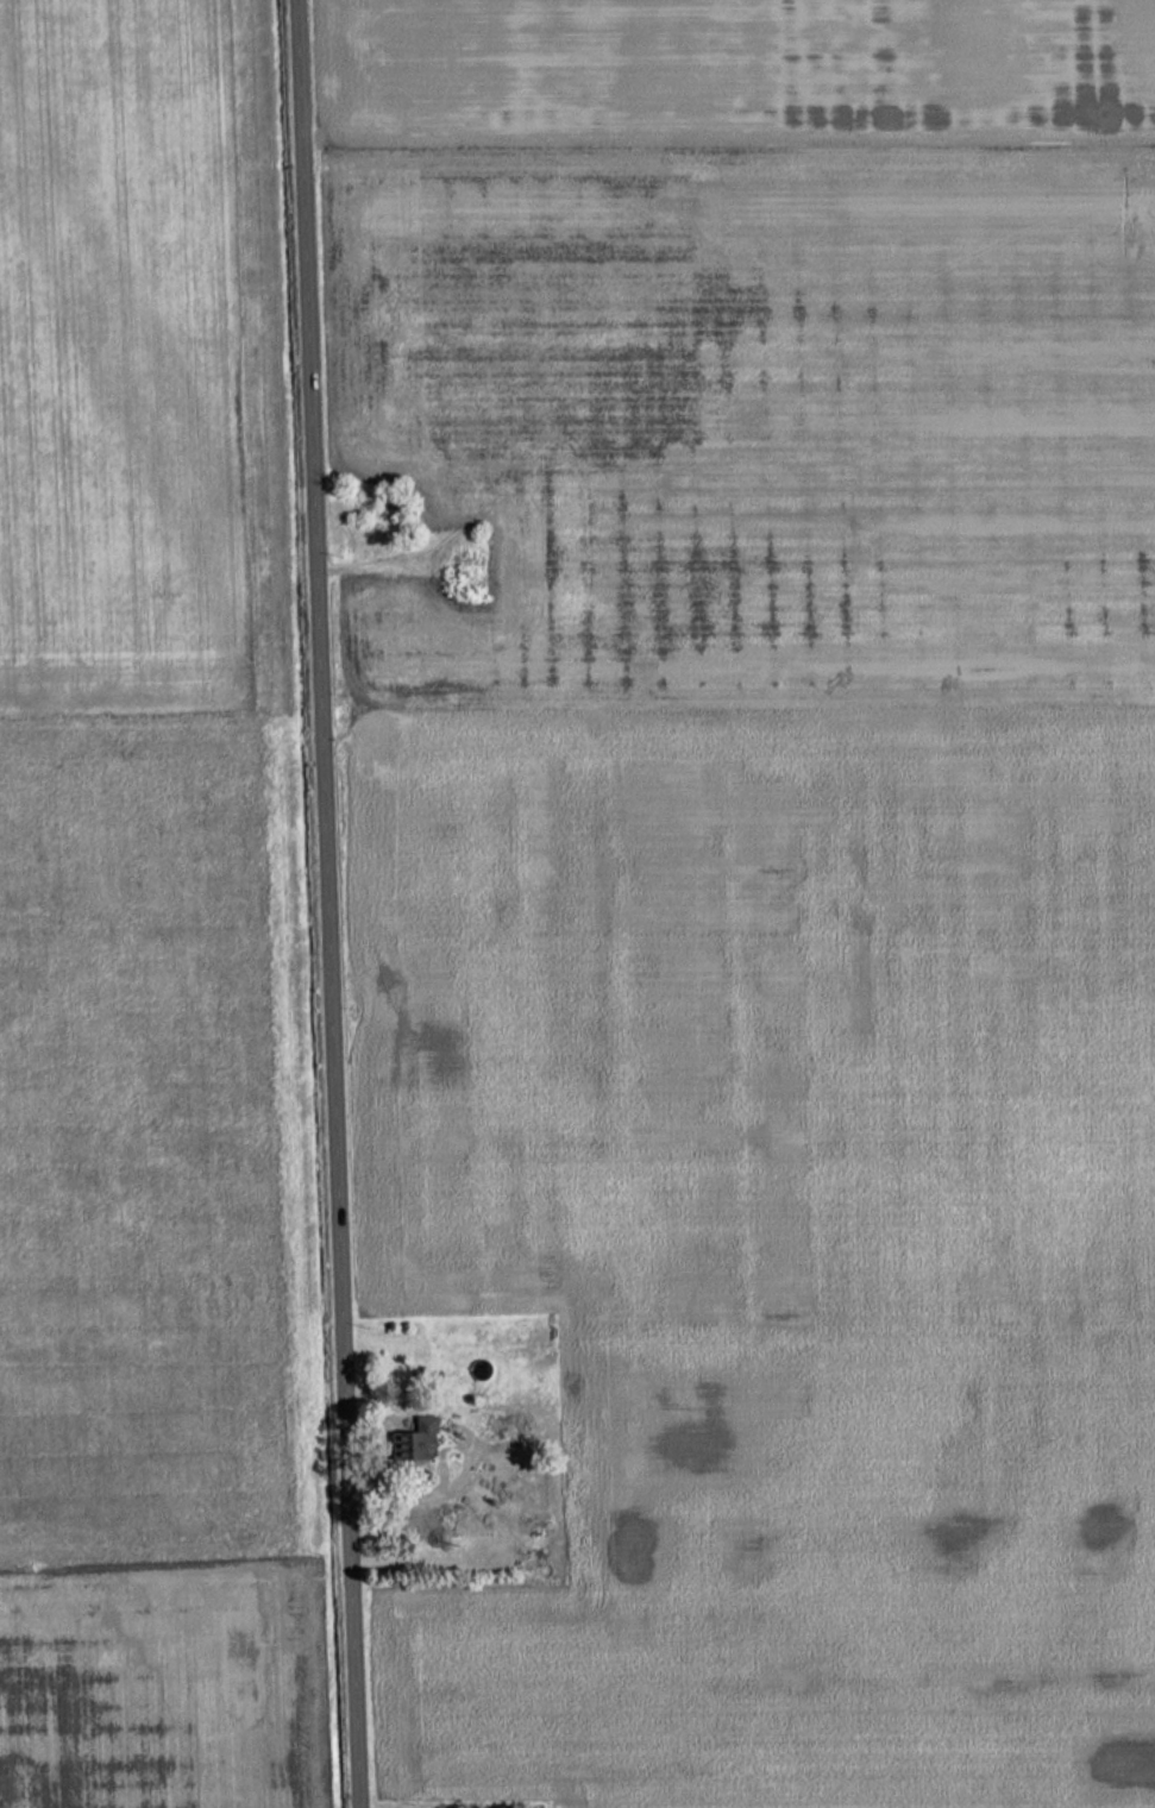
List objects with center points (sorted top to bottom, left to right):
crop: (753, 347)
crop: (121, 360)
road: (328, 904)
crop: (780, 1236)
crop: (142, 1276)
building: (412, 1442)
crop: (852, 1804)

